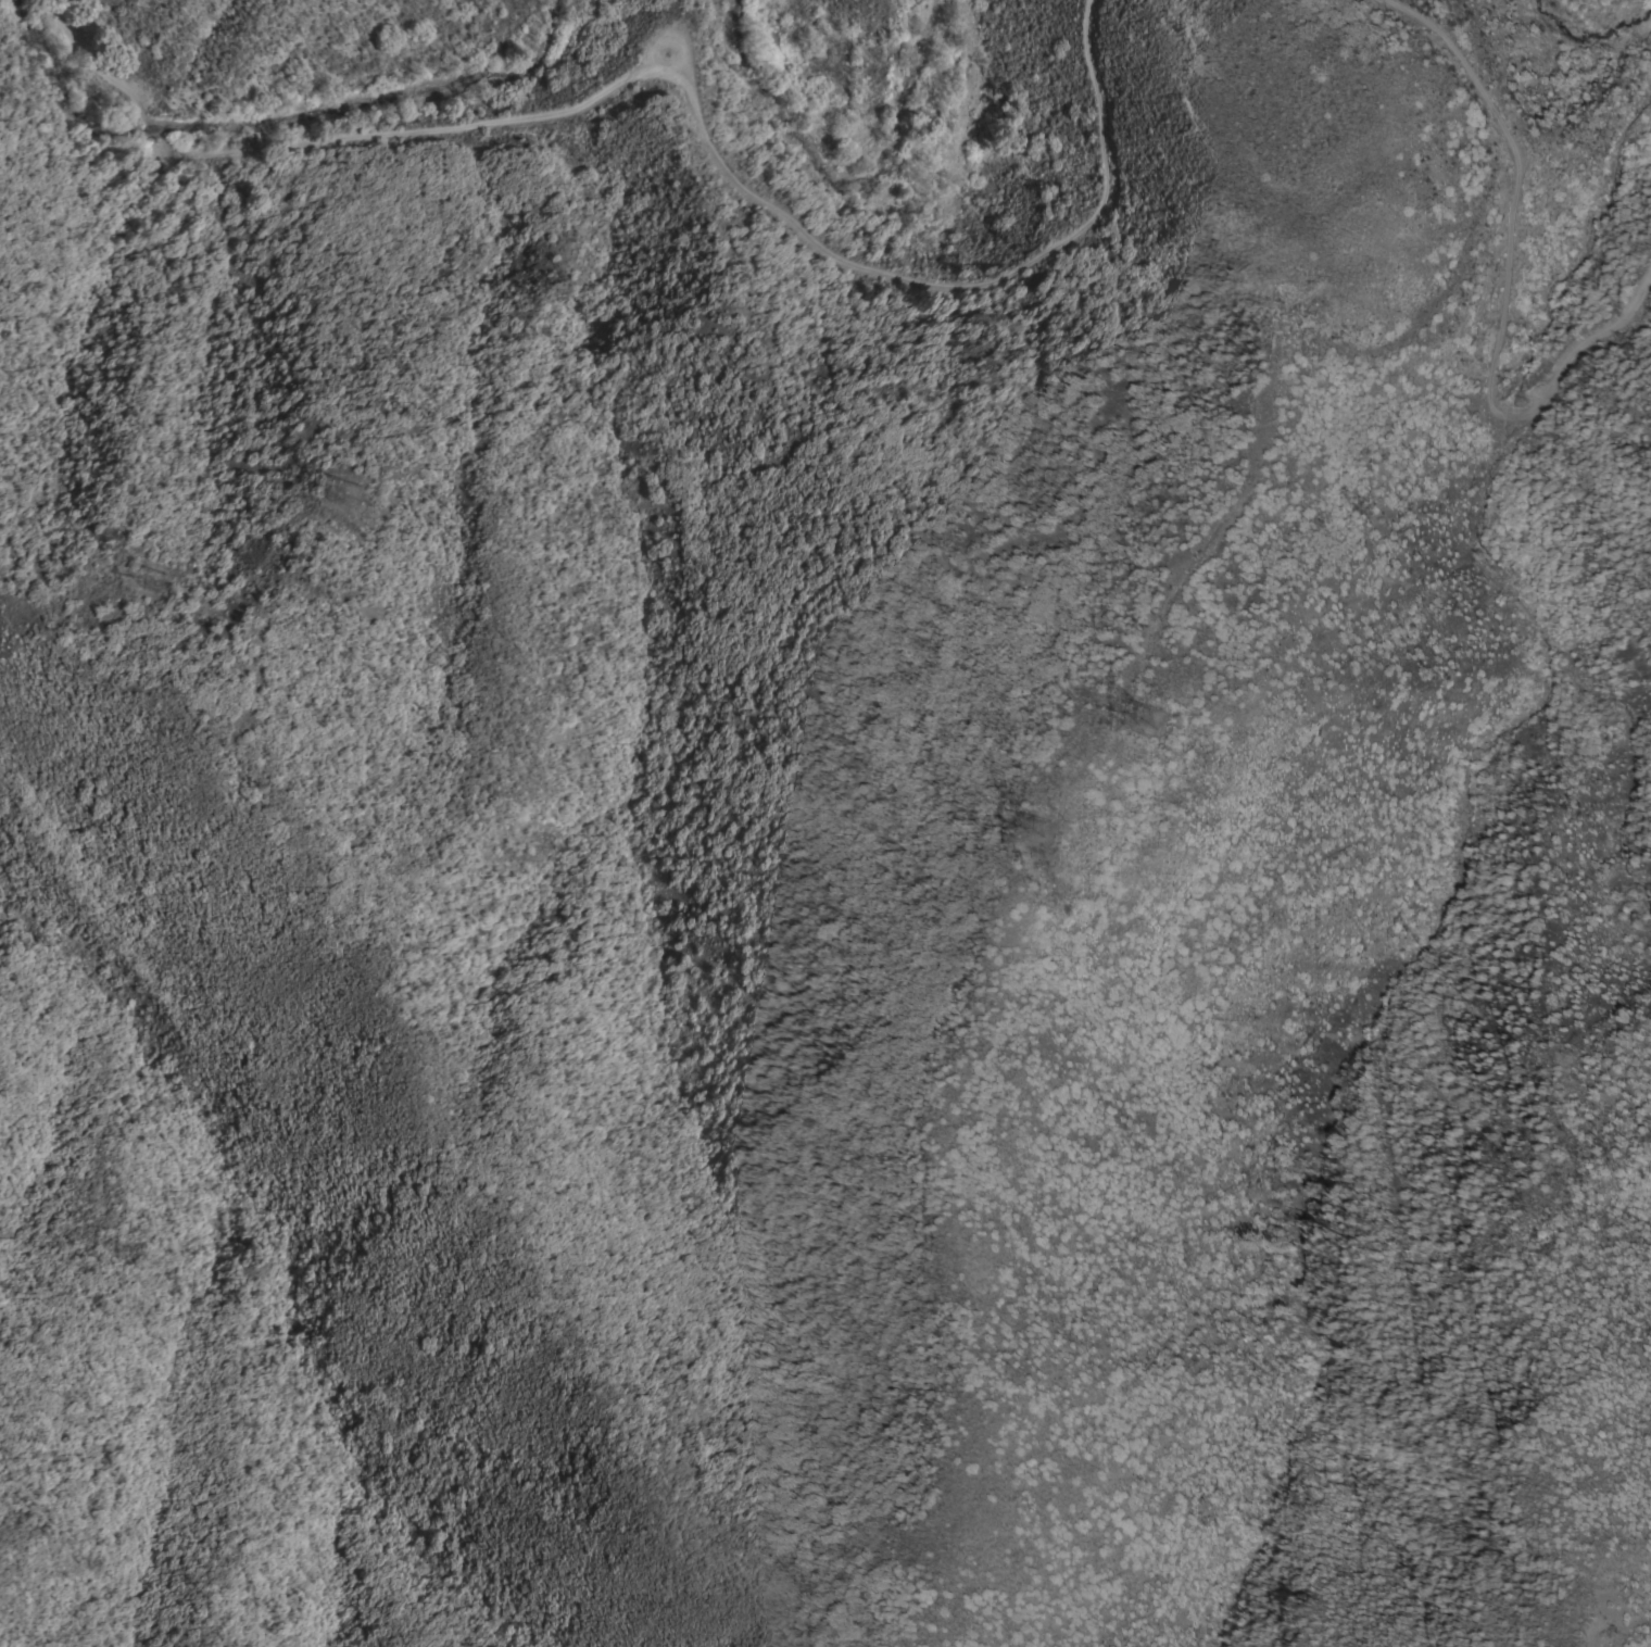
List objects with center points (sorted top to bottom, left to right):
road: (694, 96)
road: (1507, 292)
power tower: (343, 488)
power tower: (150, 574)
power tower: (1152, 702)
power tower: (1043, 826)

